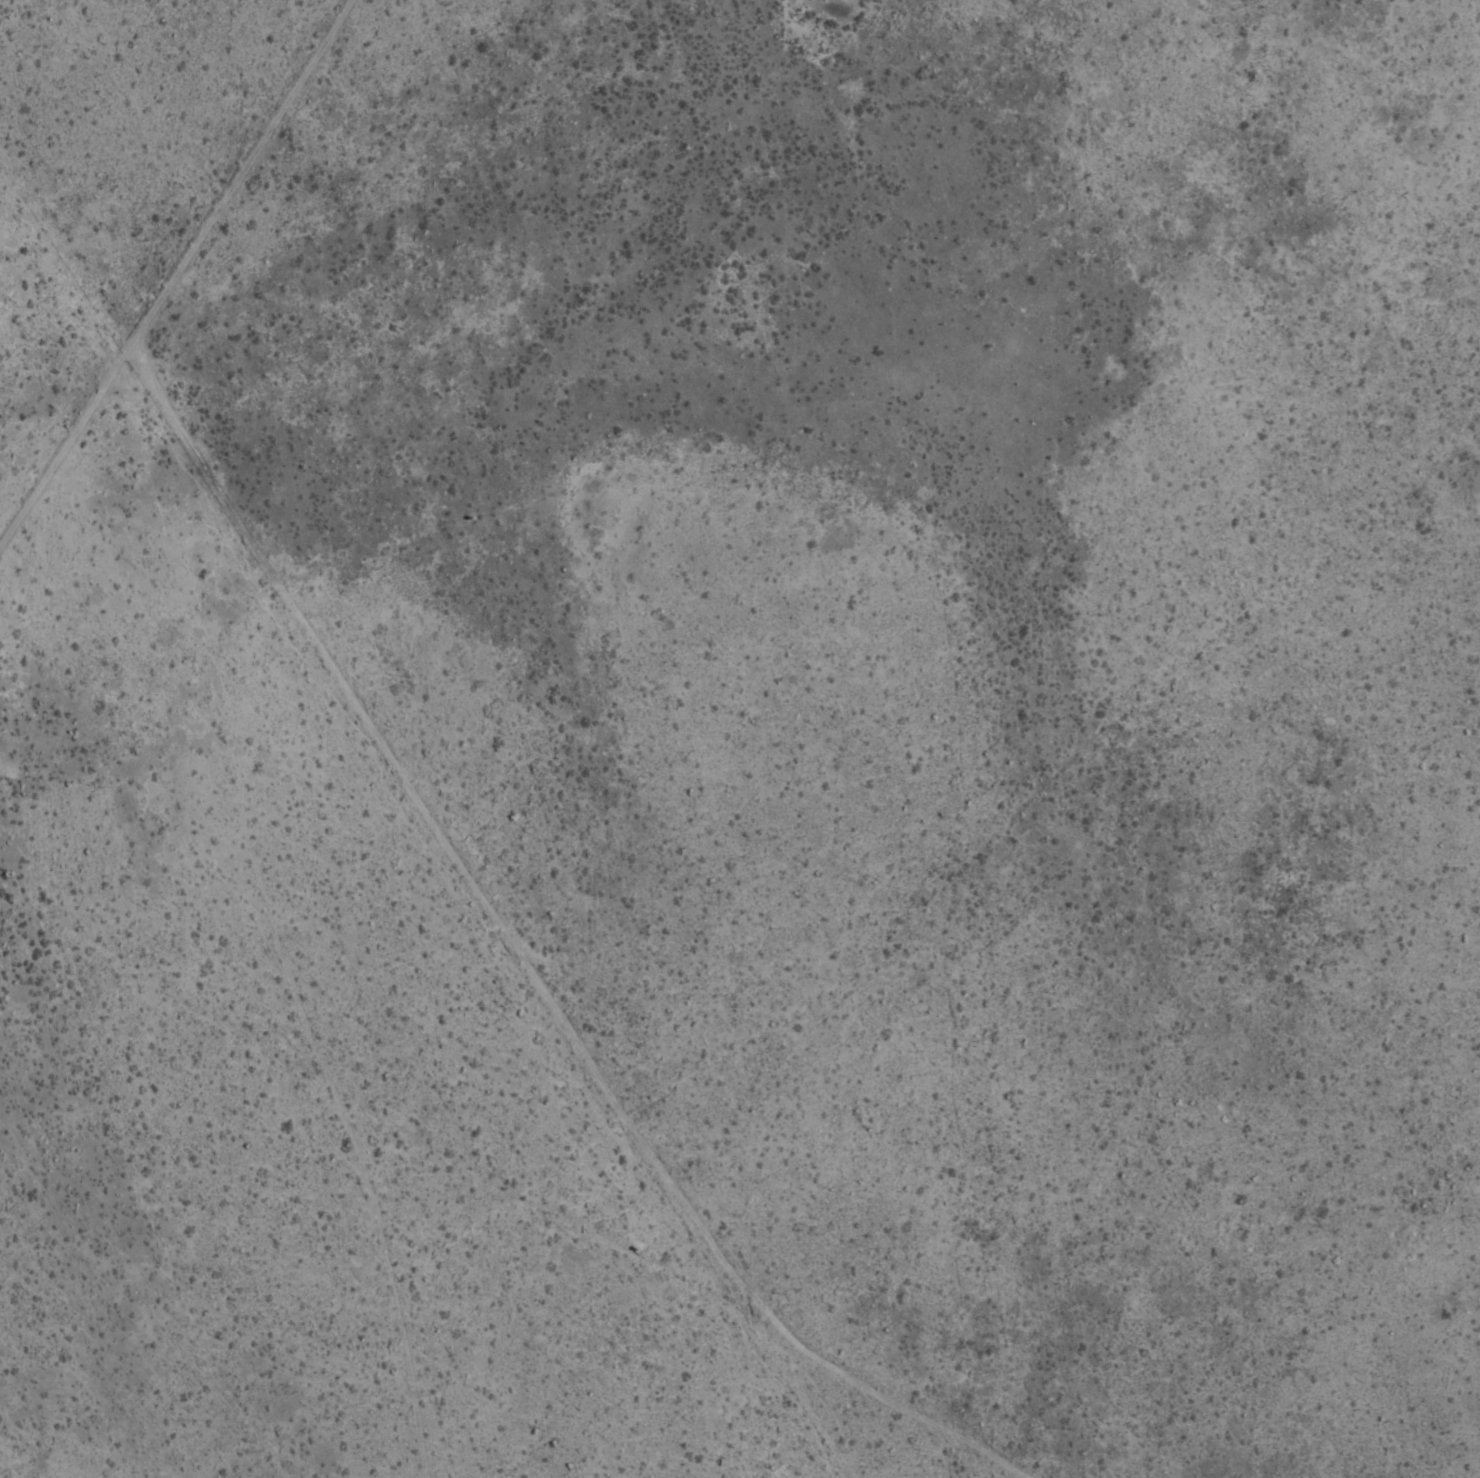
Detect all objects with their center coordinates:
road: (184, 283)

